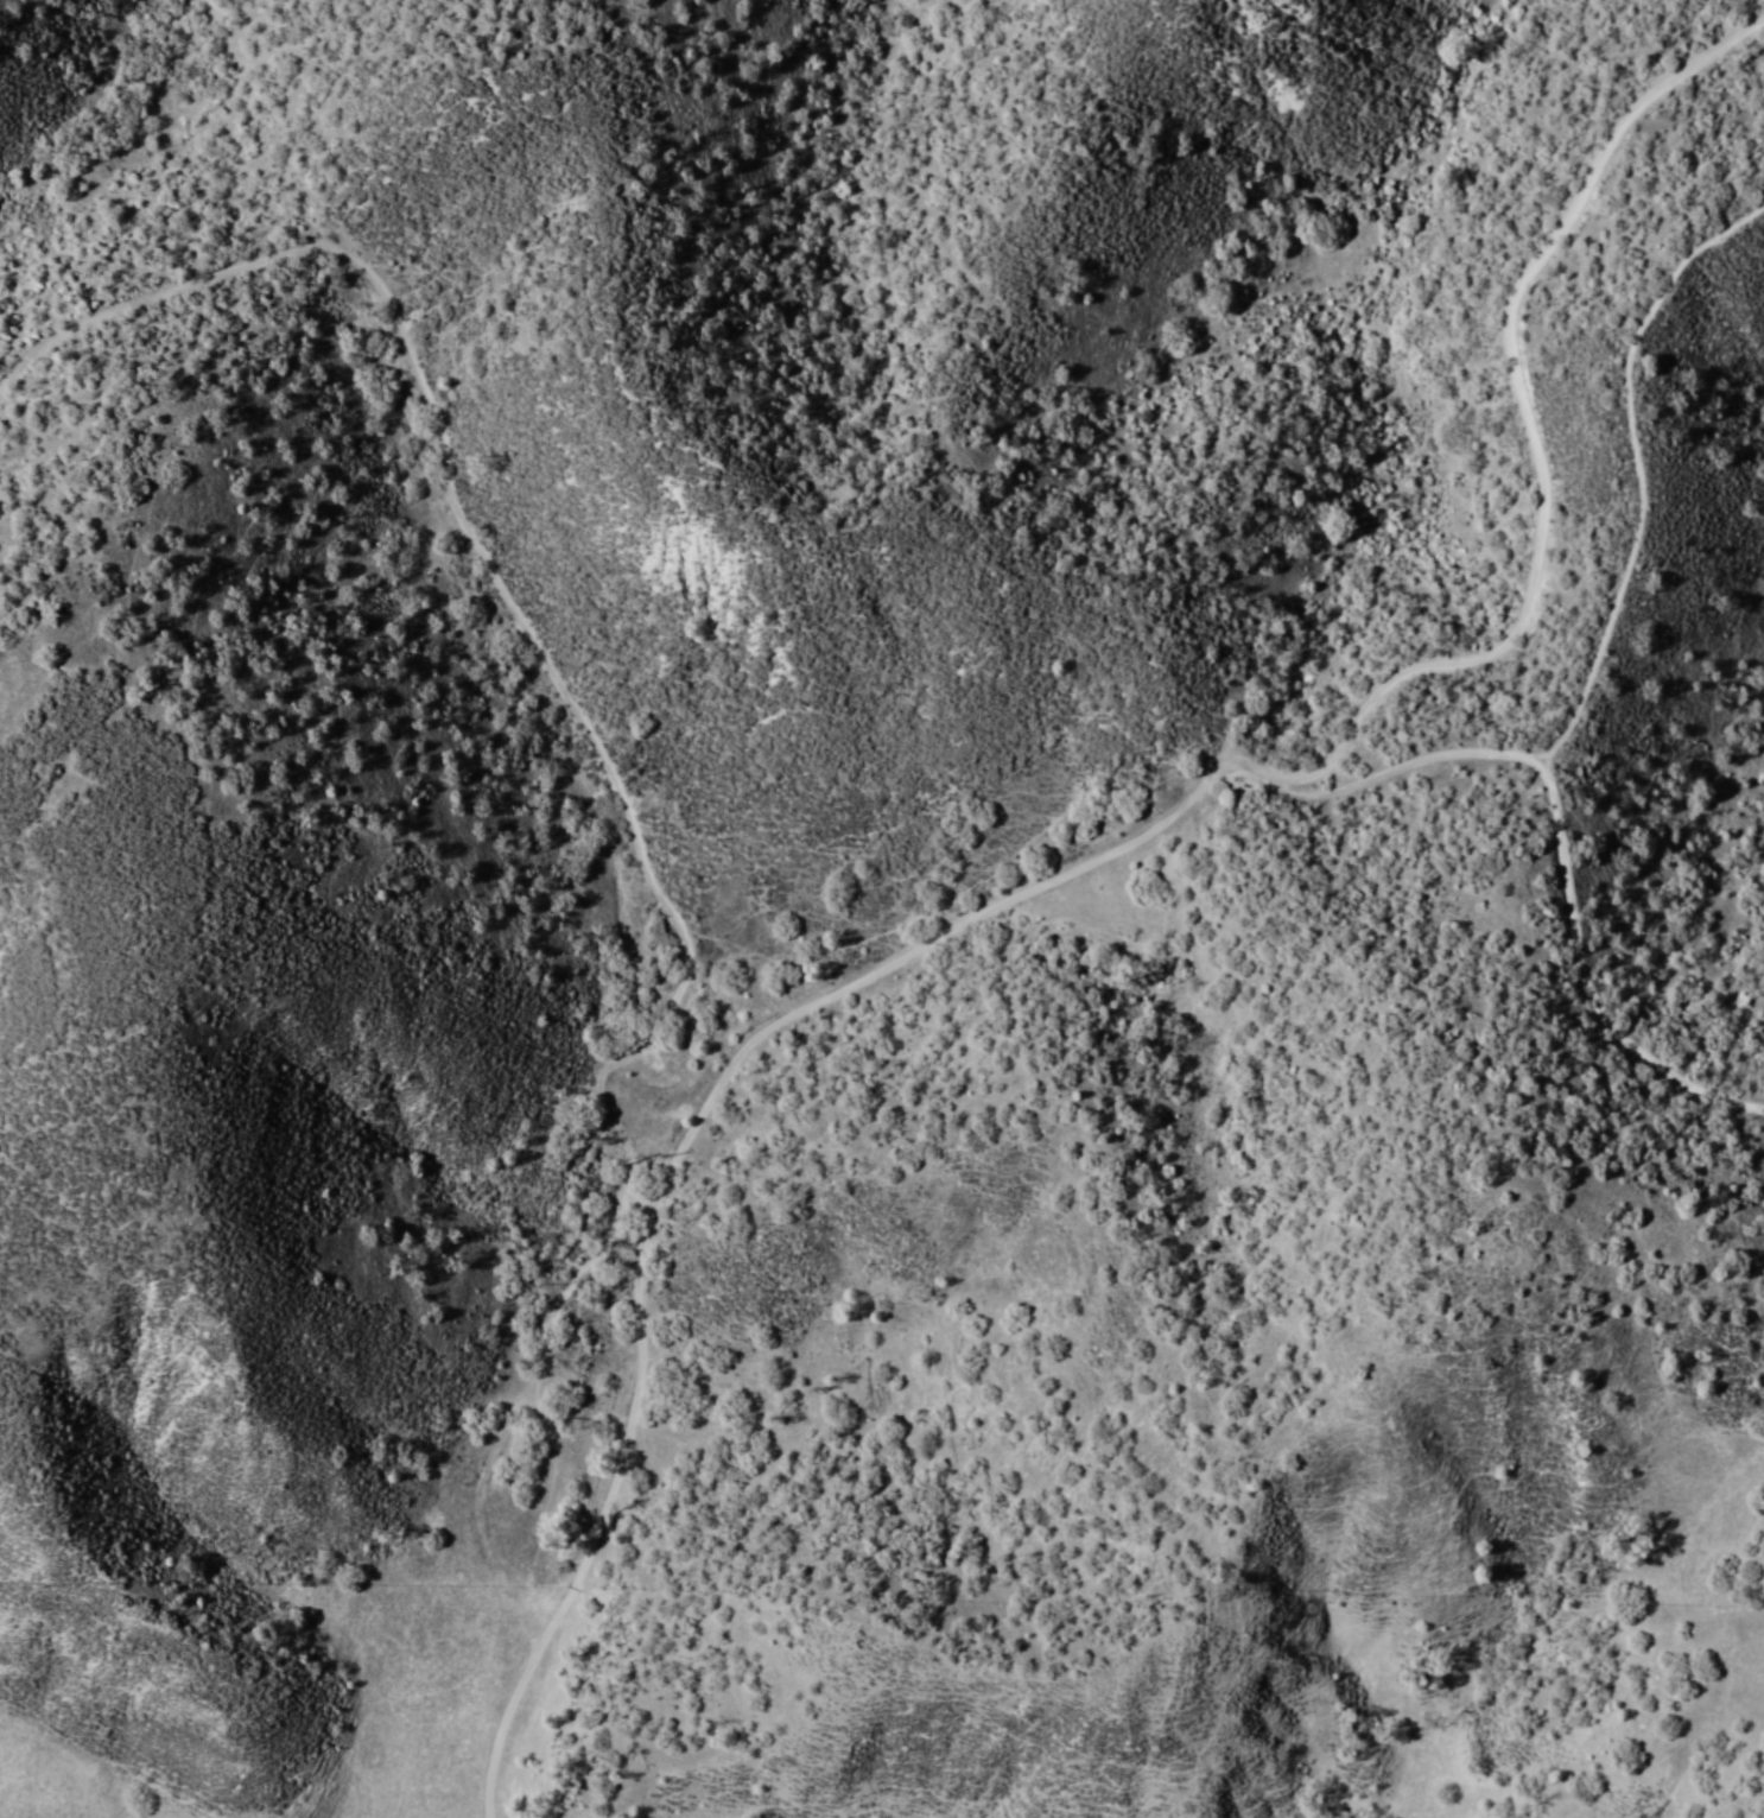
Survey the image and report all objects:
road: (445, 489)
road: (1559, 836)
road: (1118, 847)

